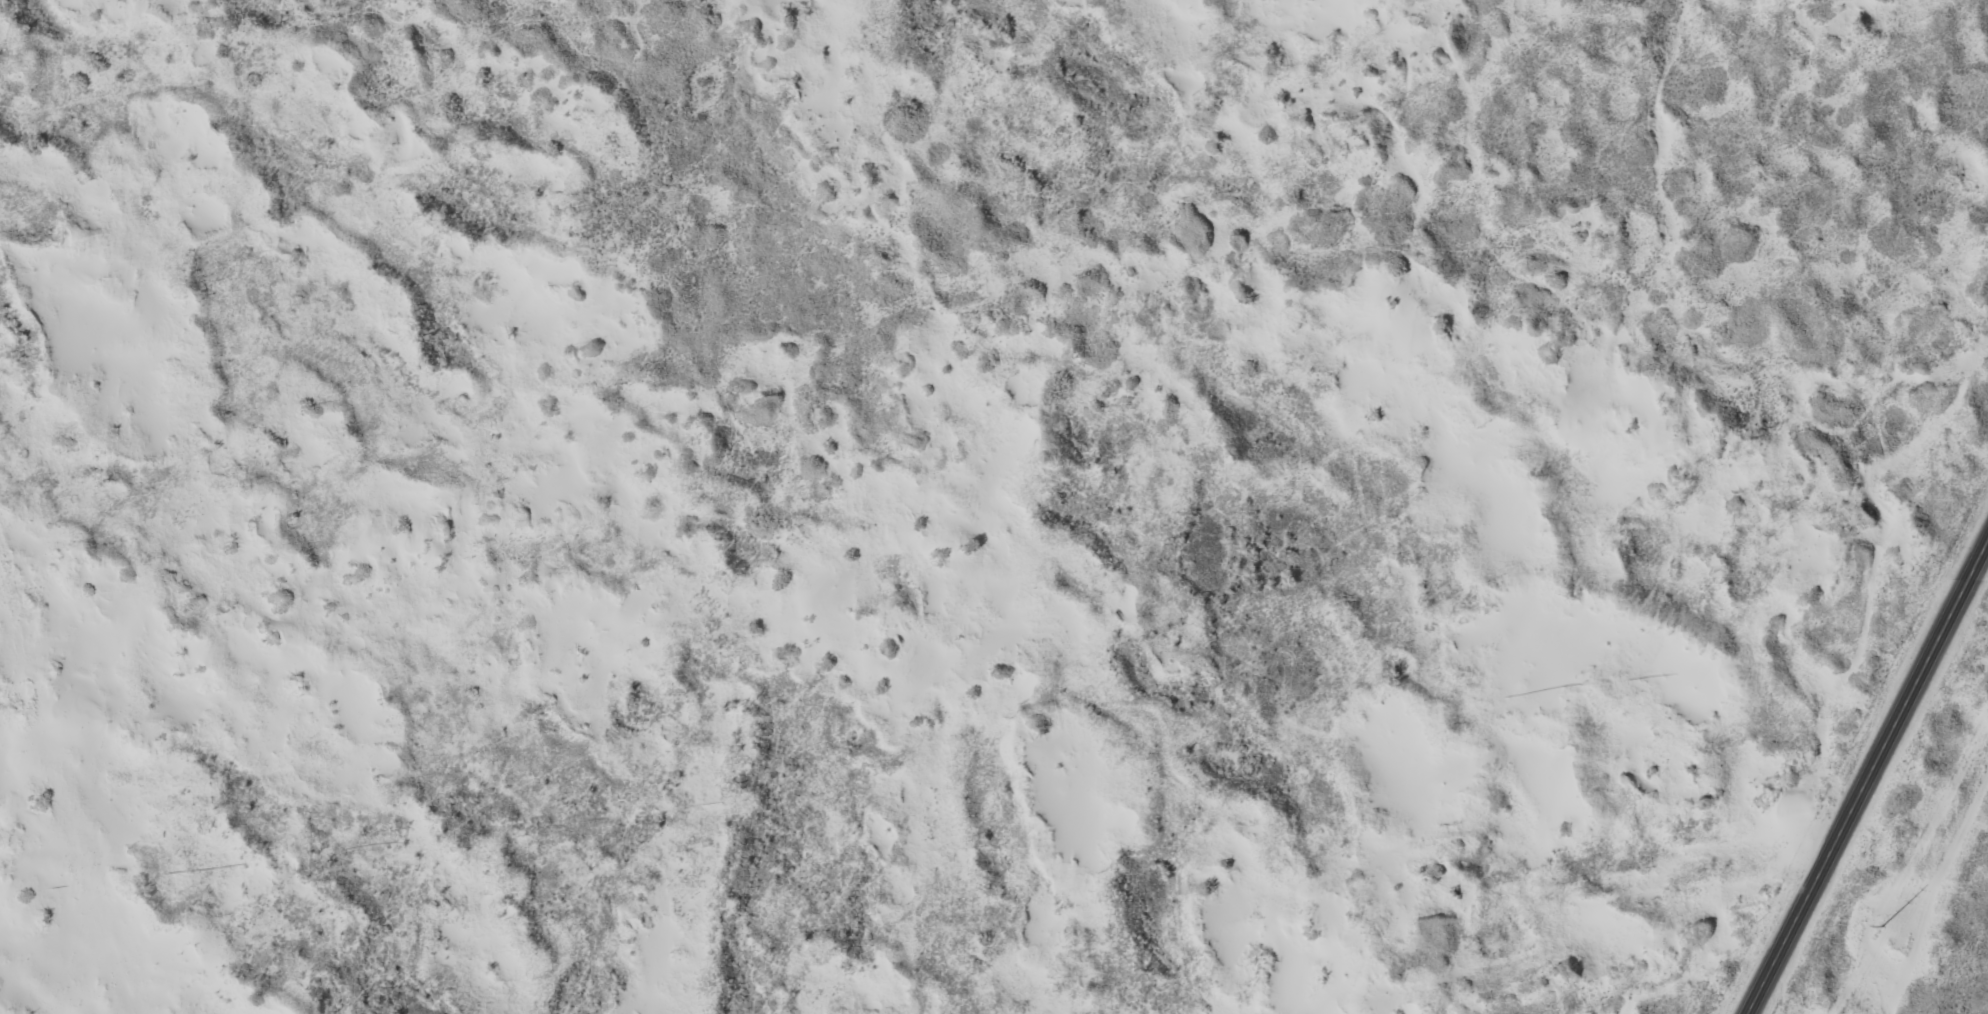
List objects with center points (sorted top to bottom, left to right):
road: (1869, 780)
power tower: (1894, 946)

